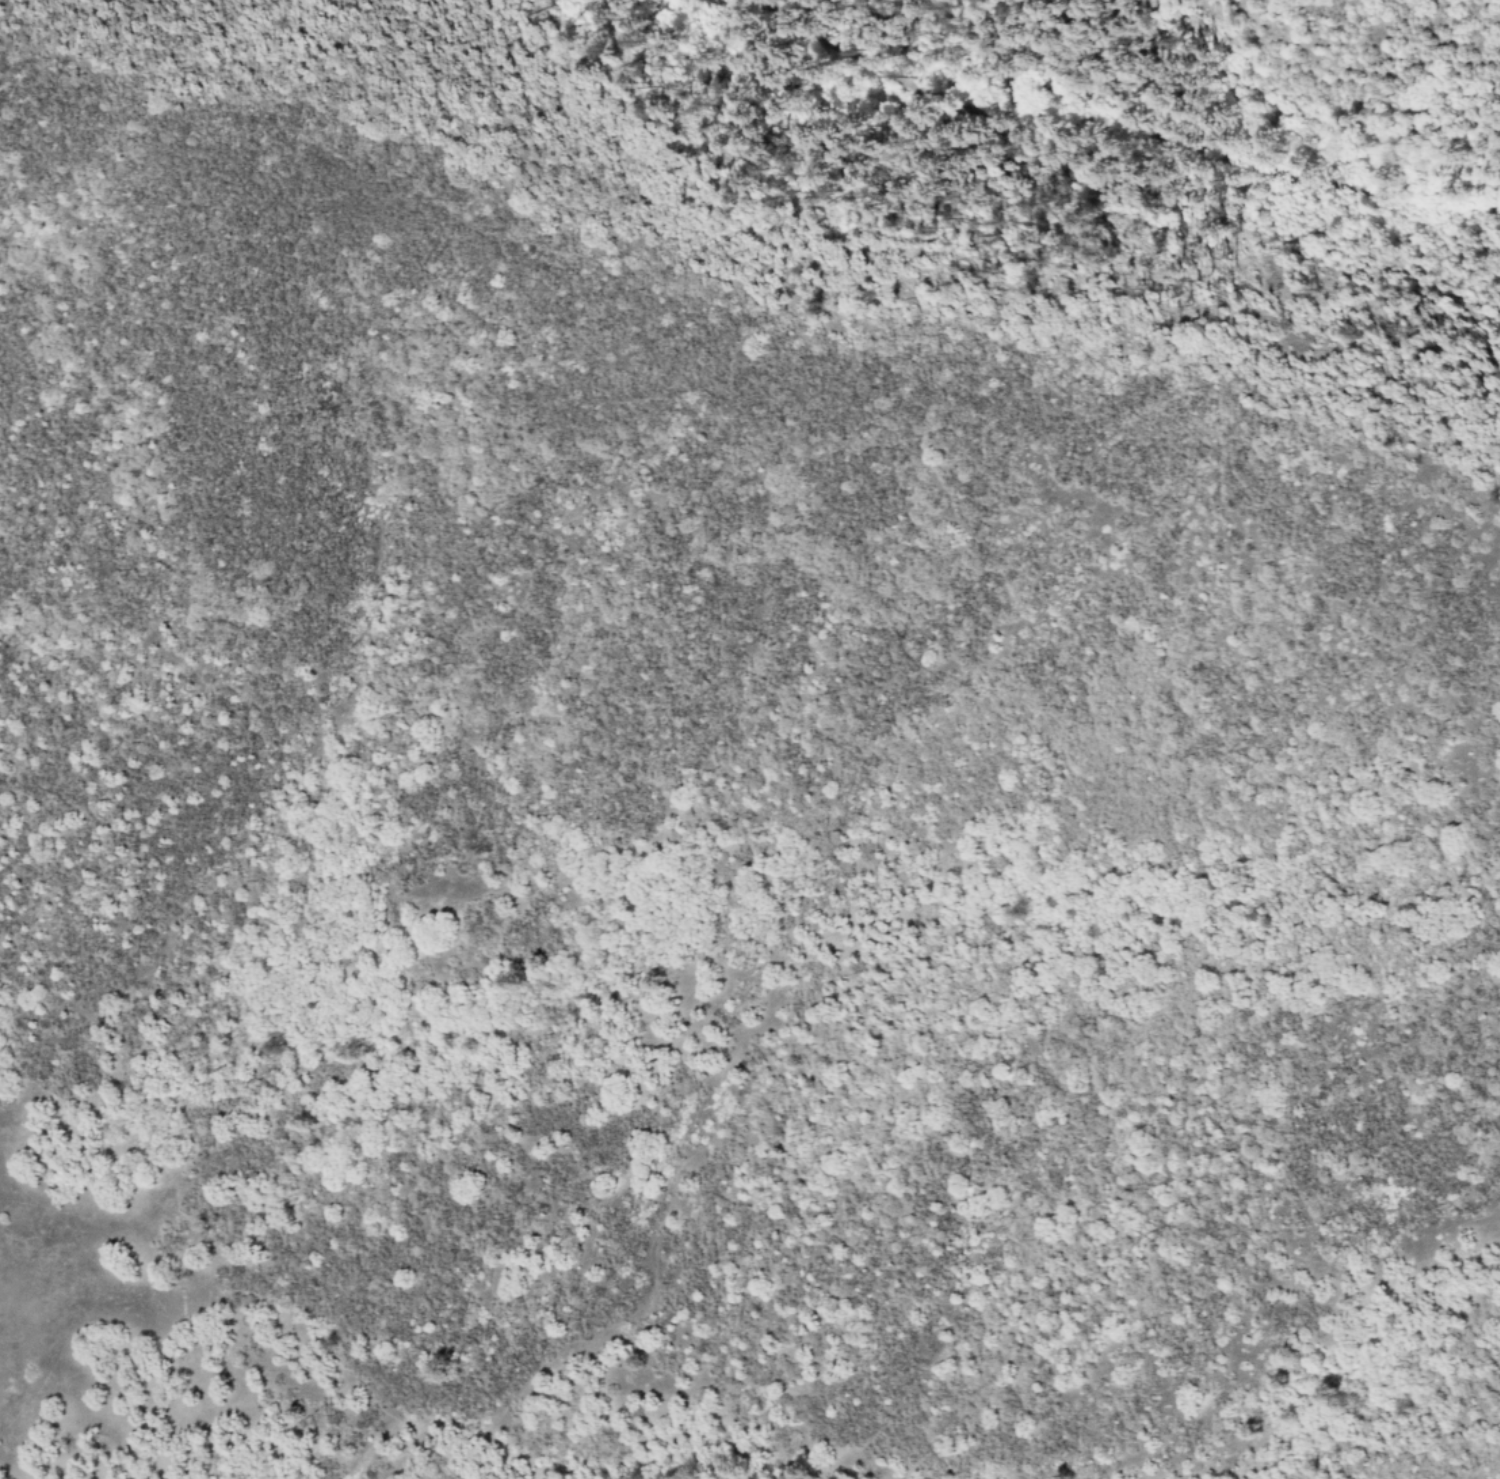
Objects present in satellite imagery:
road: (755, 10)
road: (1096, 163)

